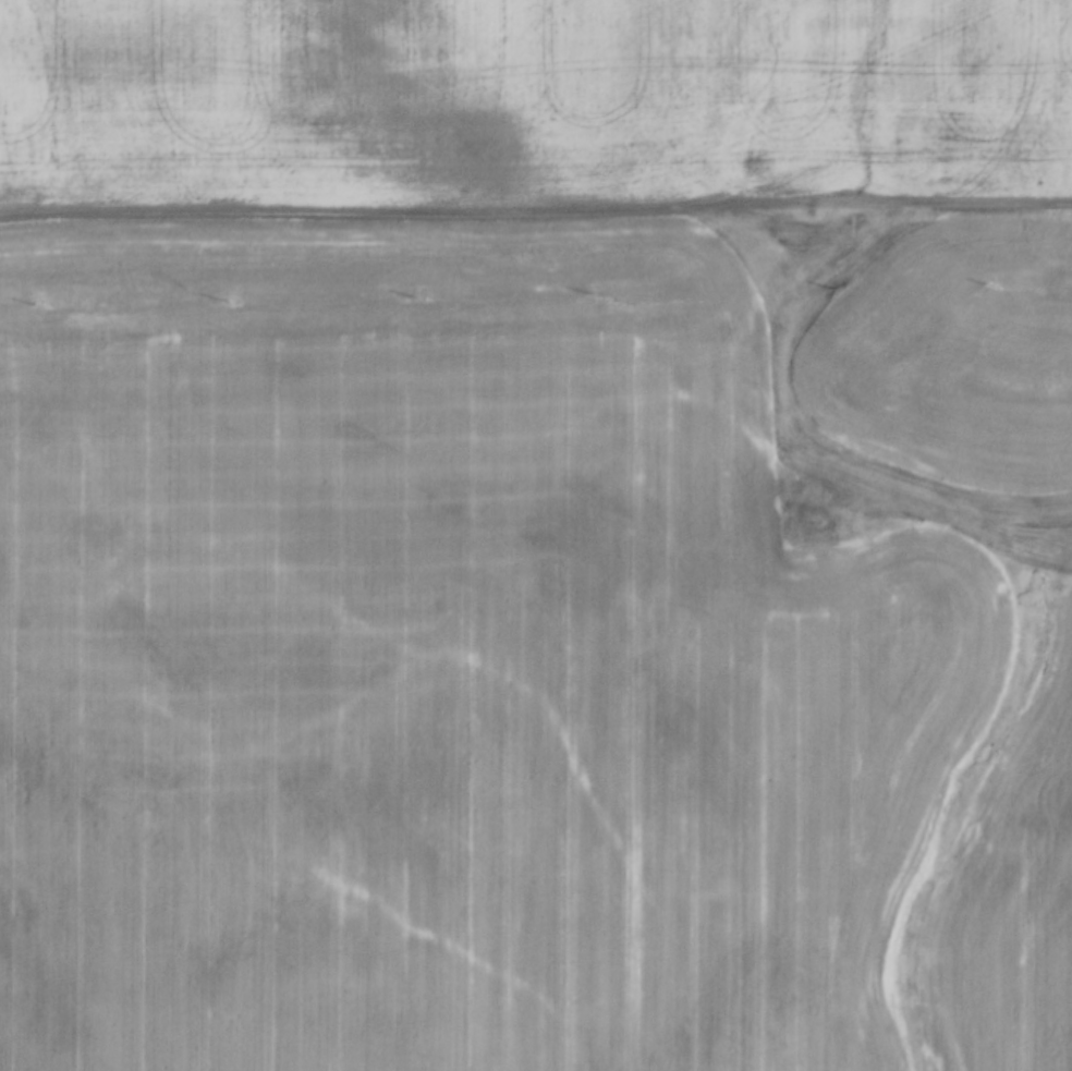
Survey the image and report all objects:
road: (535, 215)

